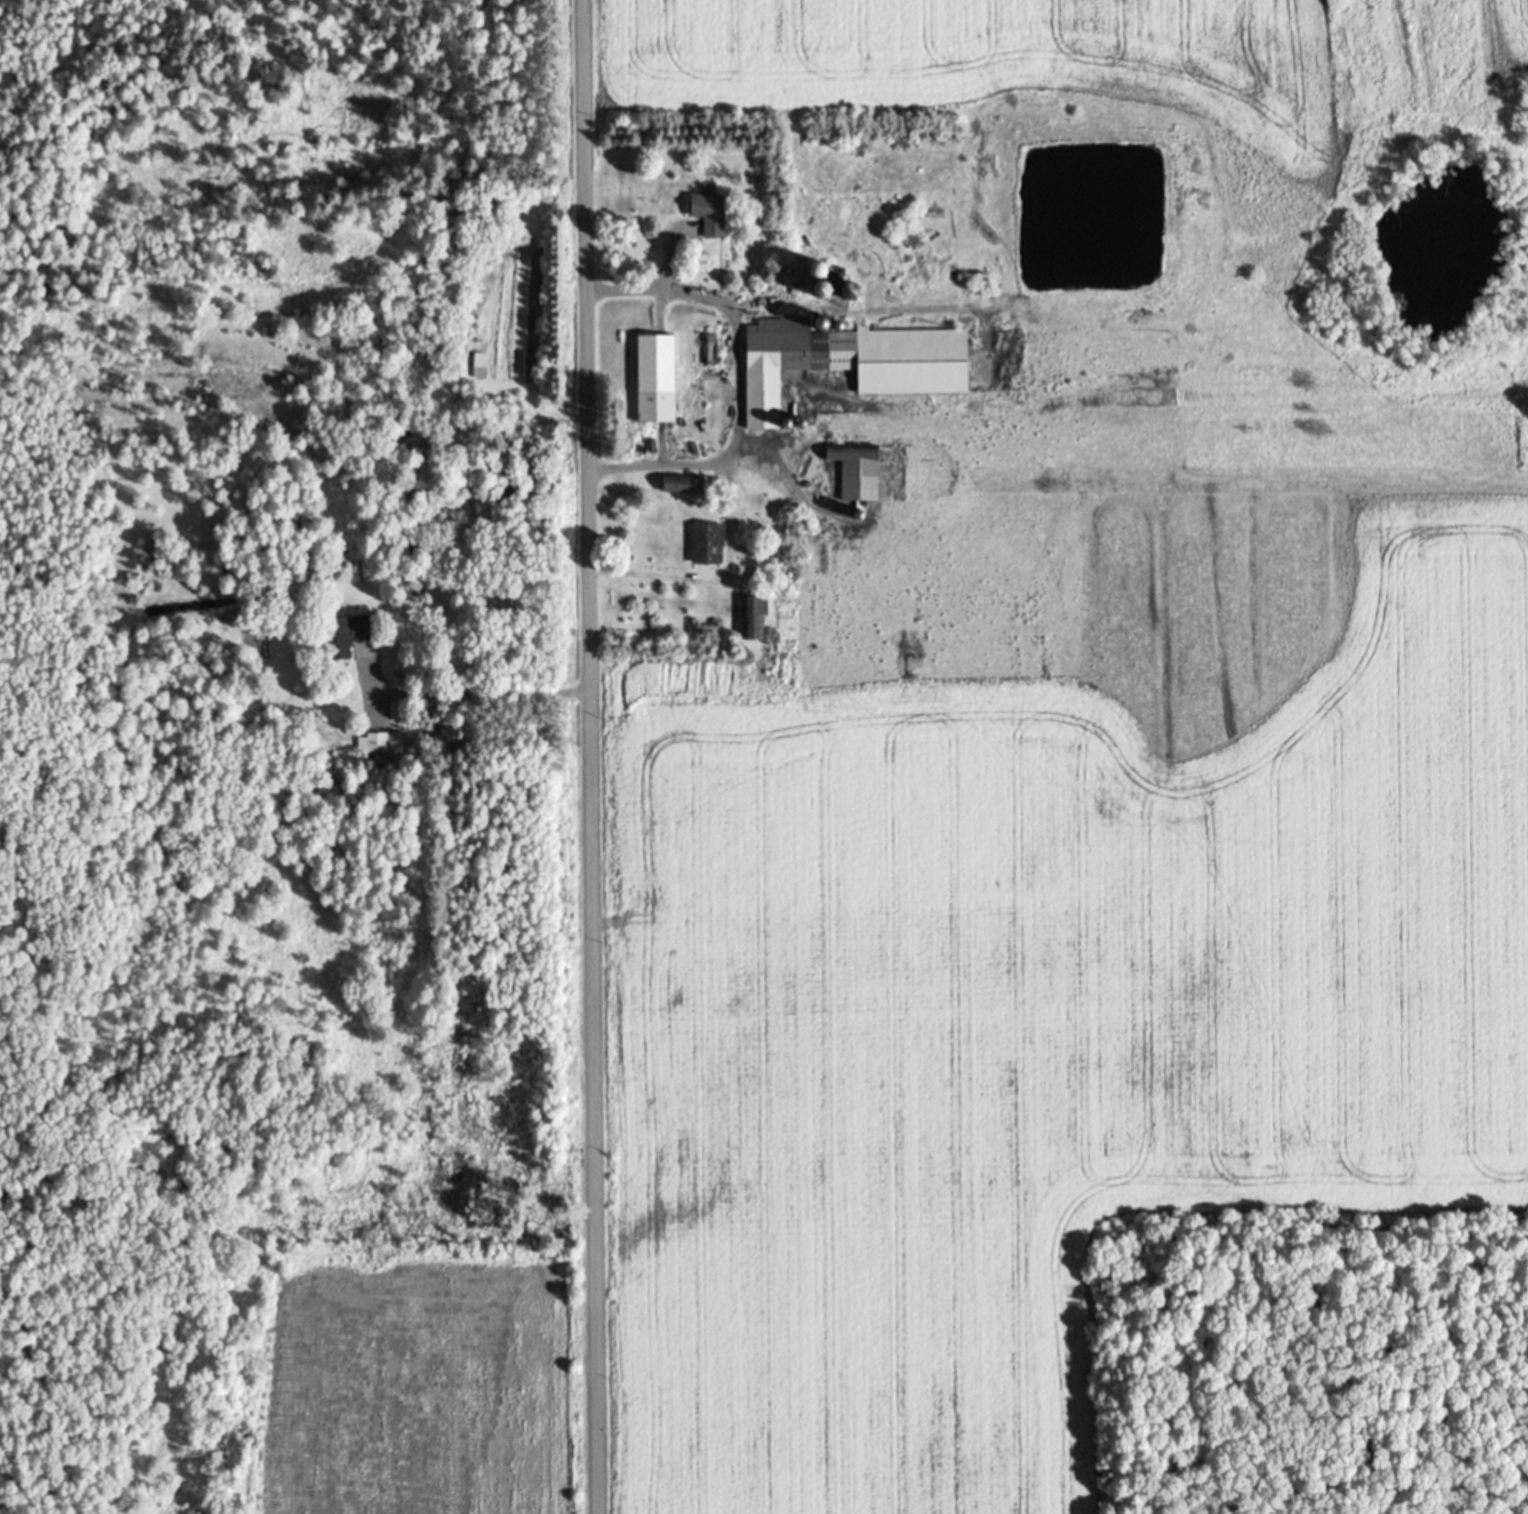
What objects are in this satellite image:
building: (701, 204)
building: (844, 362)
building: (652, 380)
building: (852, 473)
building: (501, 483)
building: (702, 545)
building: (751, 619)
building: (338, 638)
road: (591, 757)

